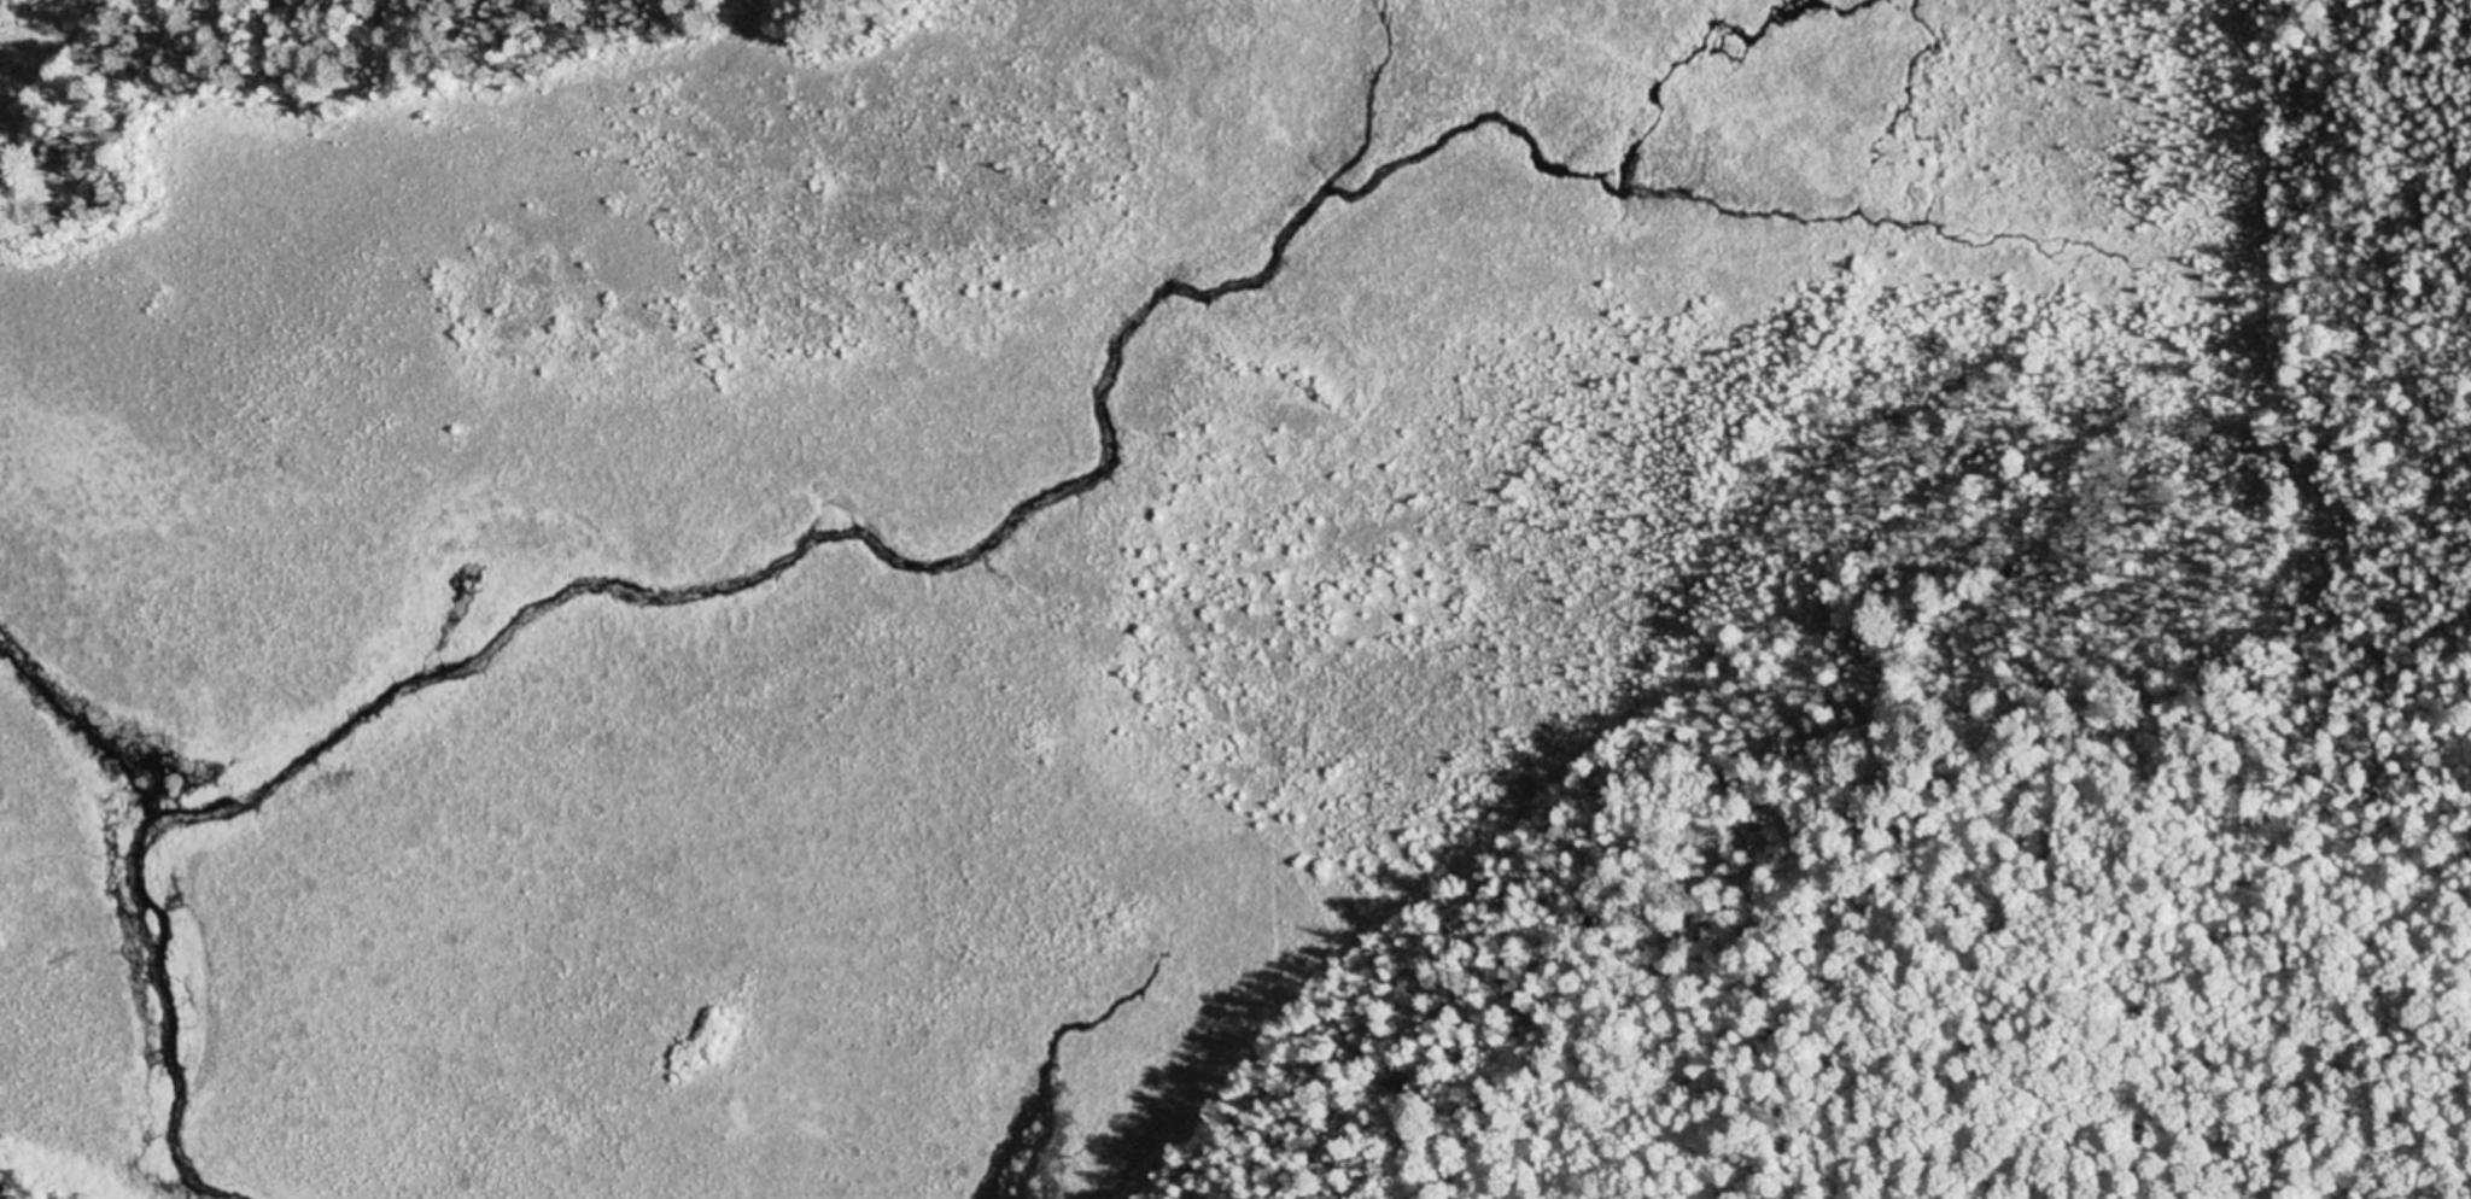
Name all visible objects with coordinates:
road: (1412, 1185)

